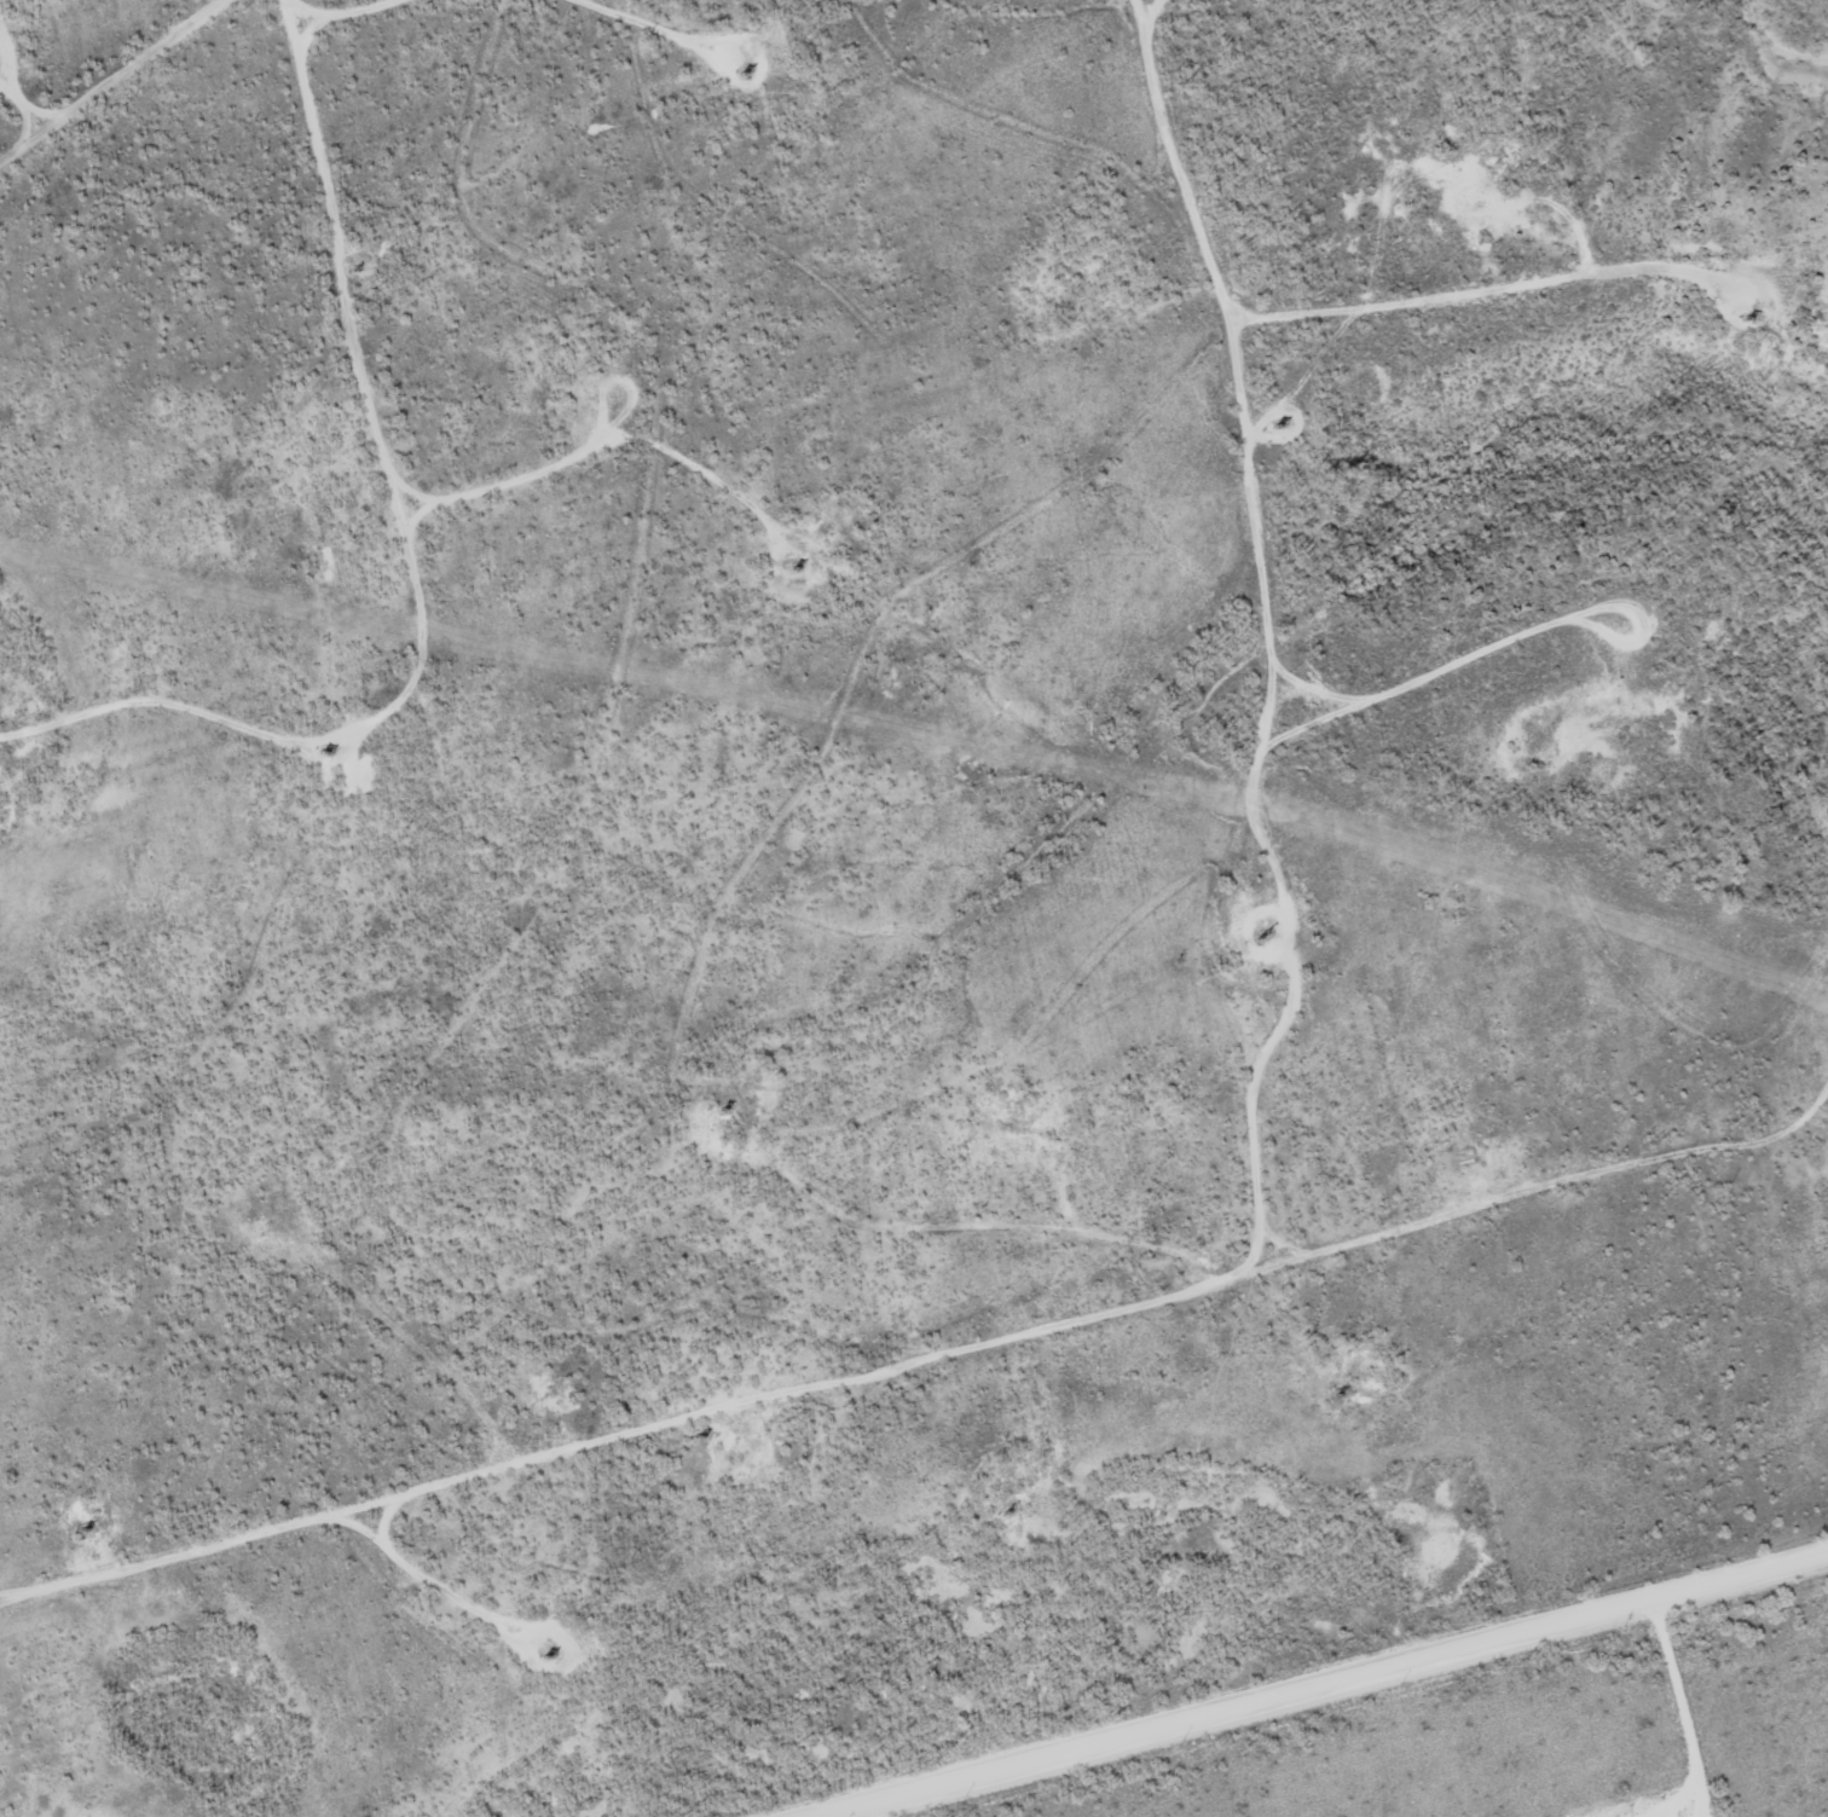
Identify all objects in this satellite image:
road: (1329, 1690)

